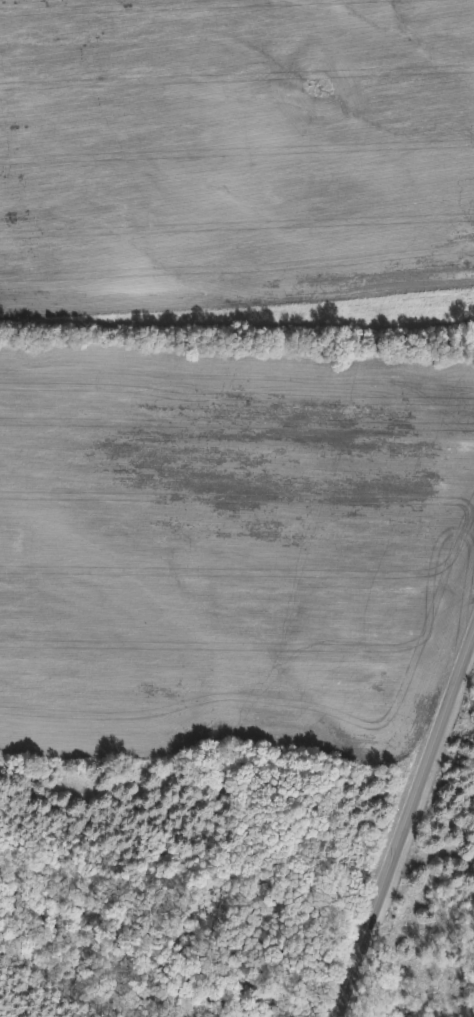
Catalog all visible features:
road: (407, 830)

